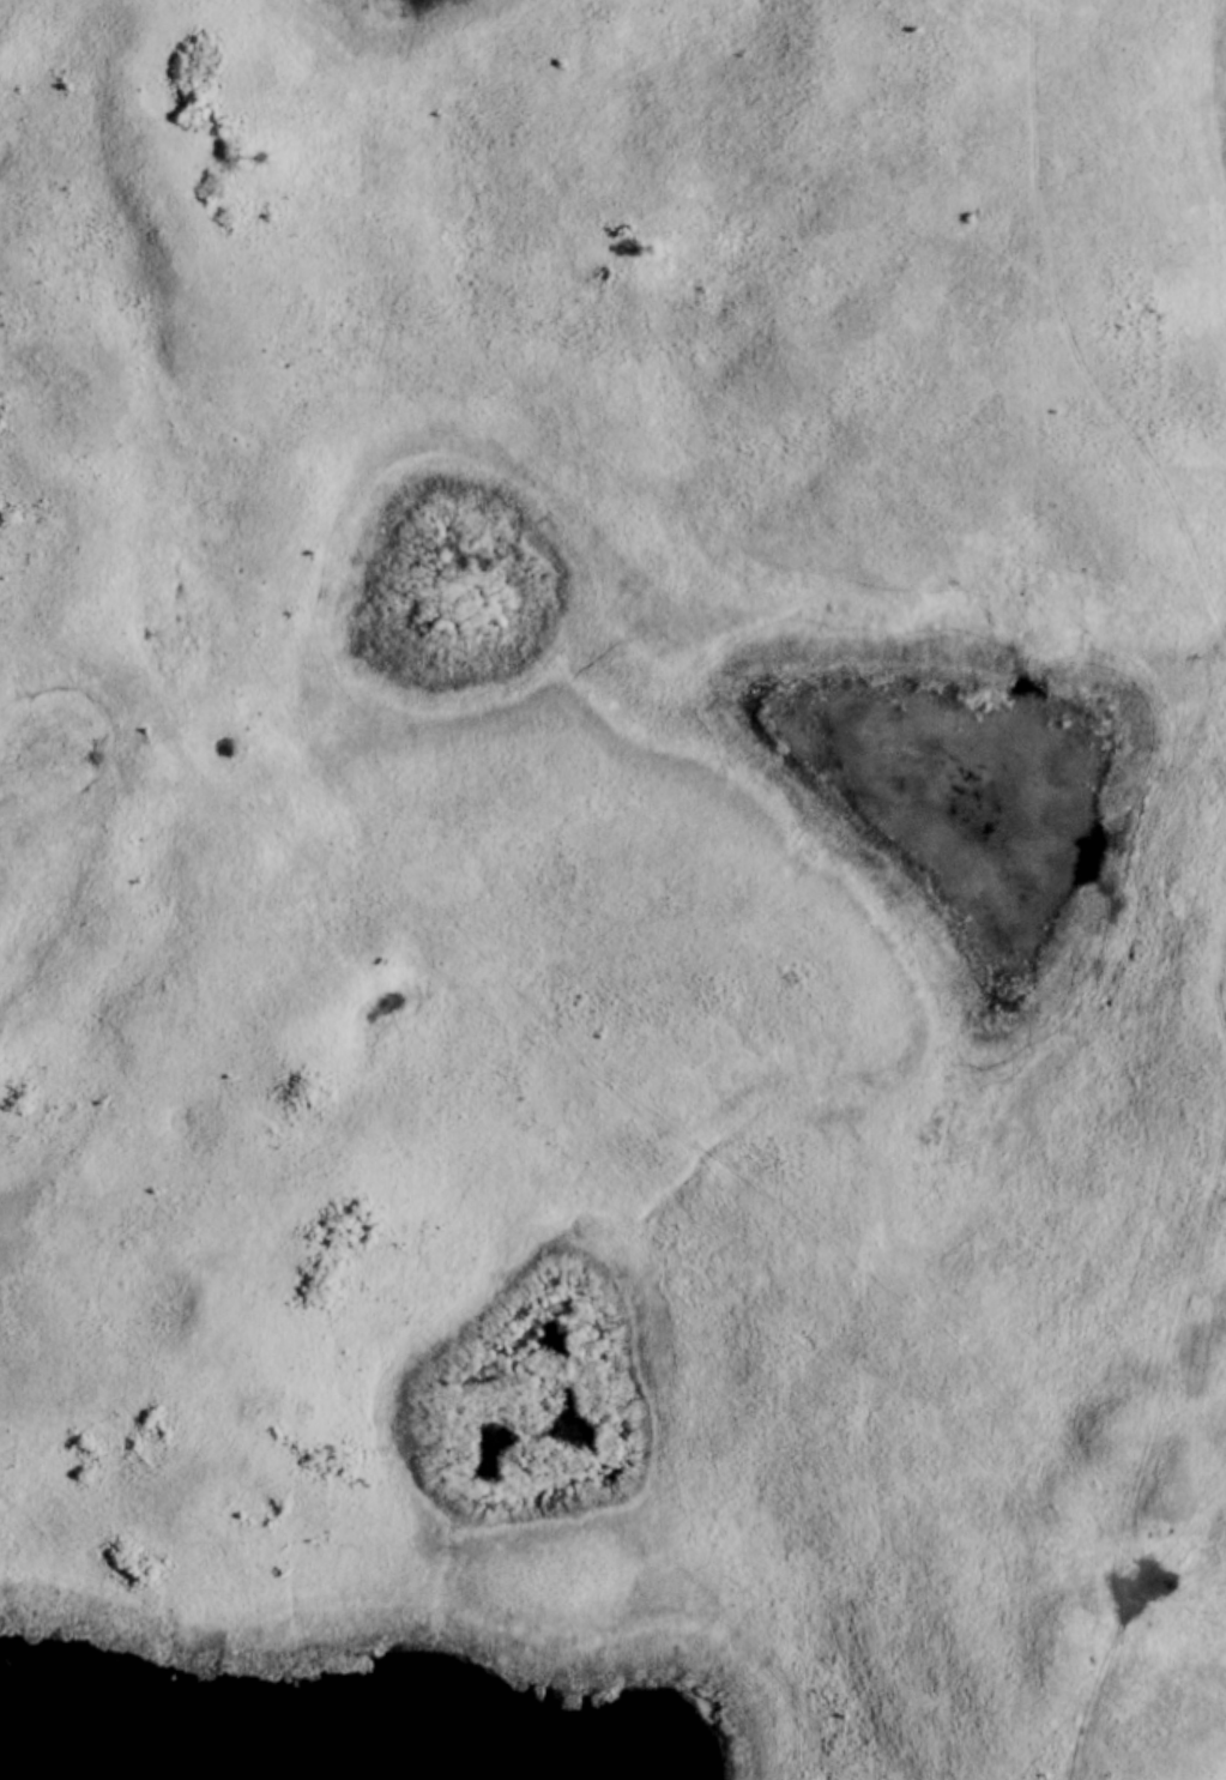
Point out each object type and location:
road: (1094, 1702)

